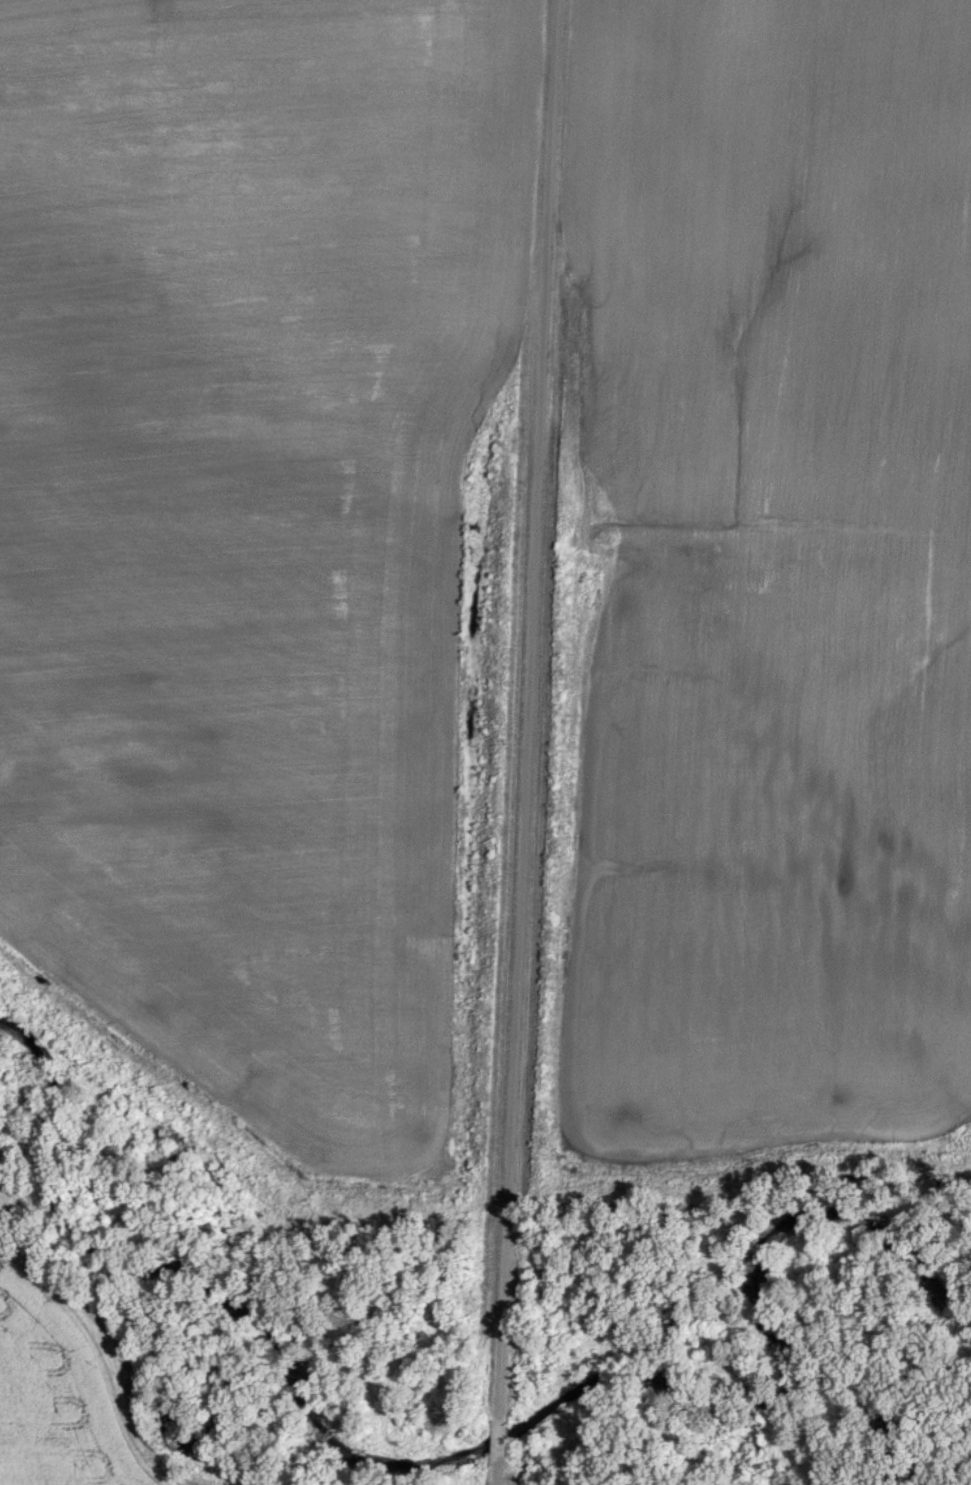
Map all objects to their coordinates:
road: (527, 742)

